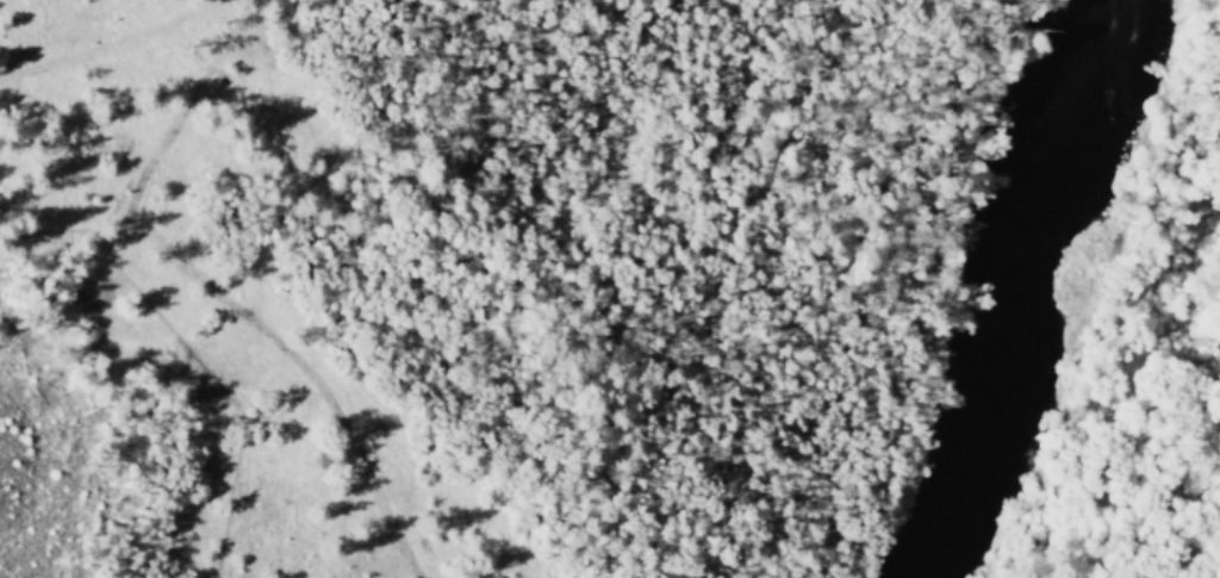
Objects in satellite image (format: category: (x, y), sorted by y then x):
river: (1027, 294)

